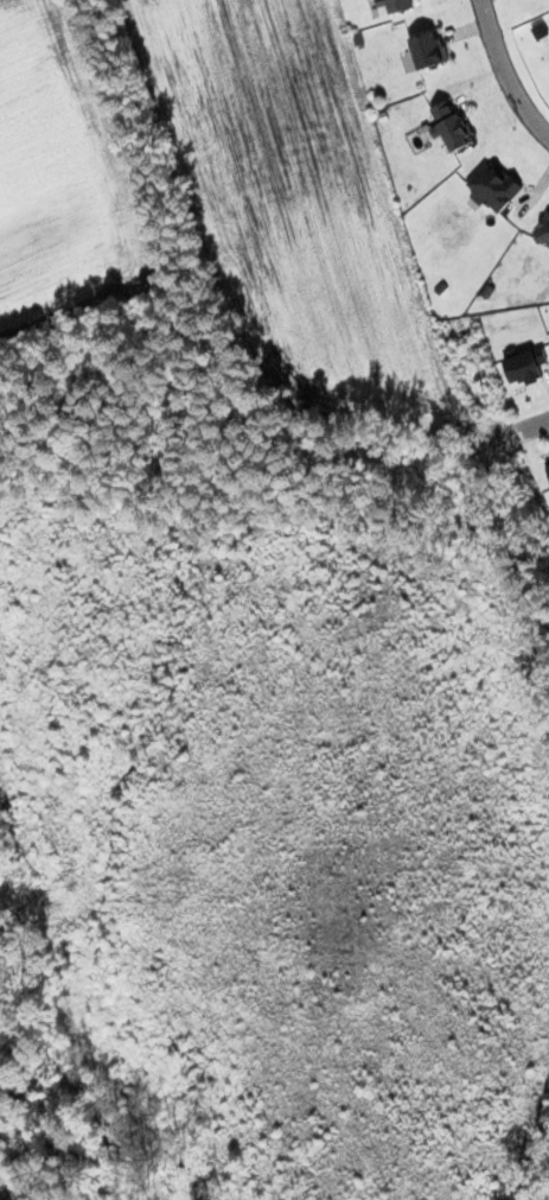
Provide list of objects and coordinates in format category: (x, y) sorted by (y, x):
building: (392, 6)
building: (428, 49)
road: (503, 72)
building: (449, 125)
building: (492, 186)
building: (543, 230)
building: (524, 367)
road: (526, 428)

